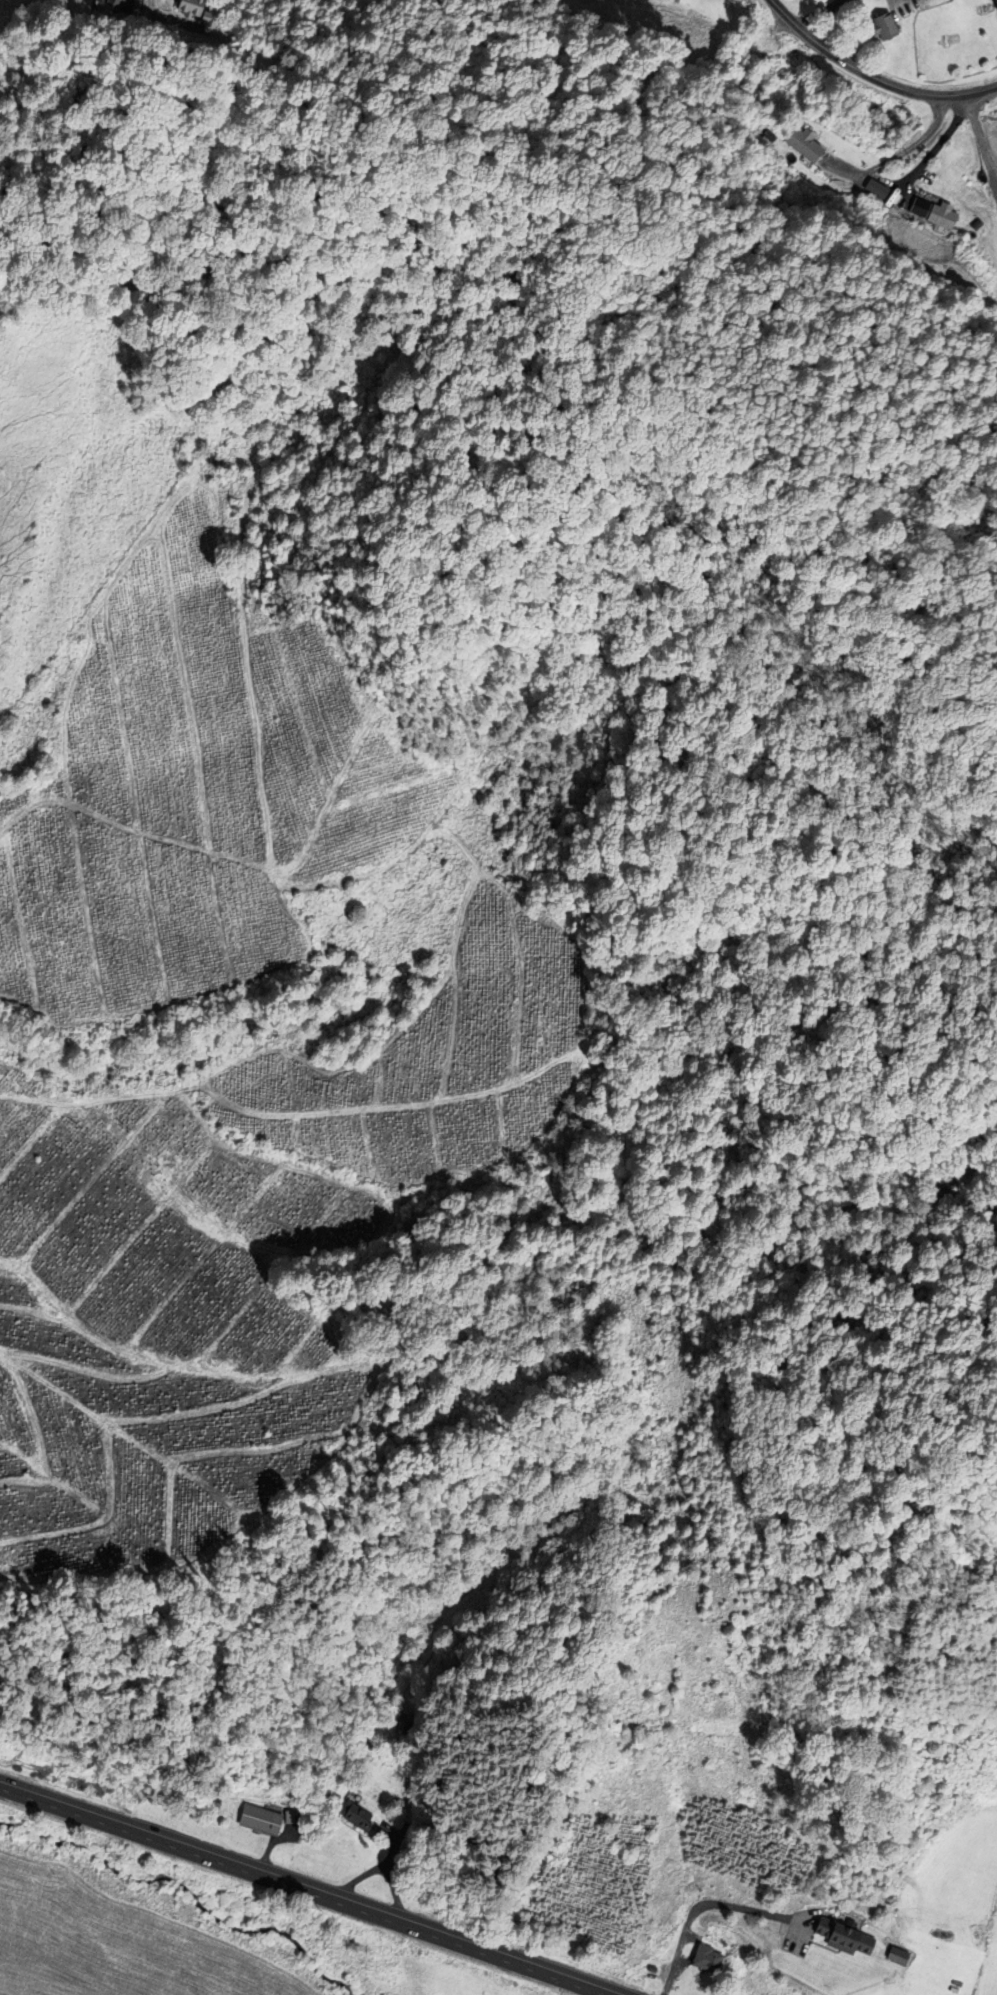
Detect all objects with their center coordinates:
building: (112, 4)
building: (995, 5)
building: (188, 7)
building: (884, 28)
road: (873, 76)
building: (803, 148)
building: (931, 213)
building: (402, 1725)
building: (353, 1816)
building: (257, 1820)
road: (314, 1886)
road: (700, 1905)
building: (845, 1935)
building: (707, 1957)
building: (651, 1968)

